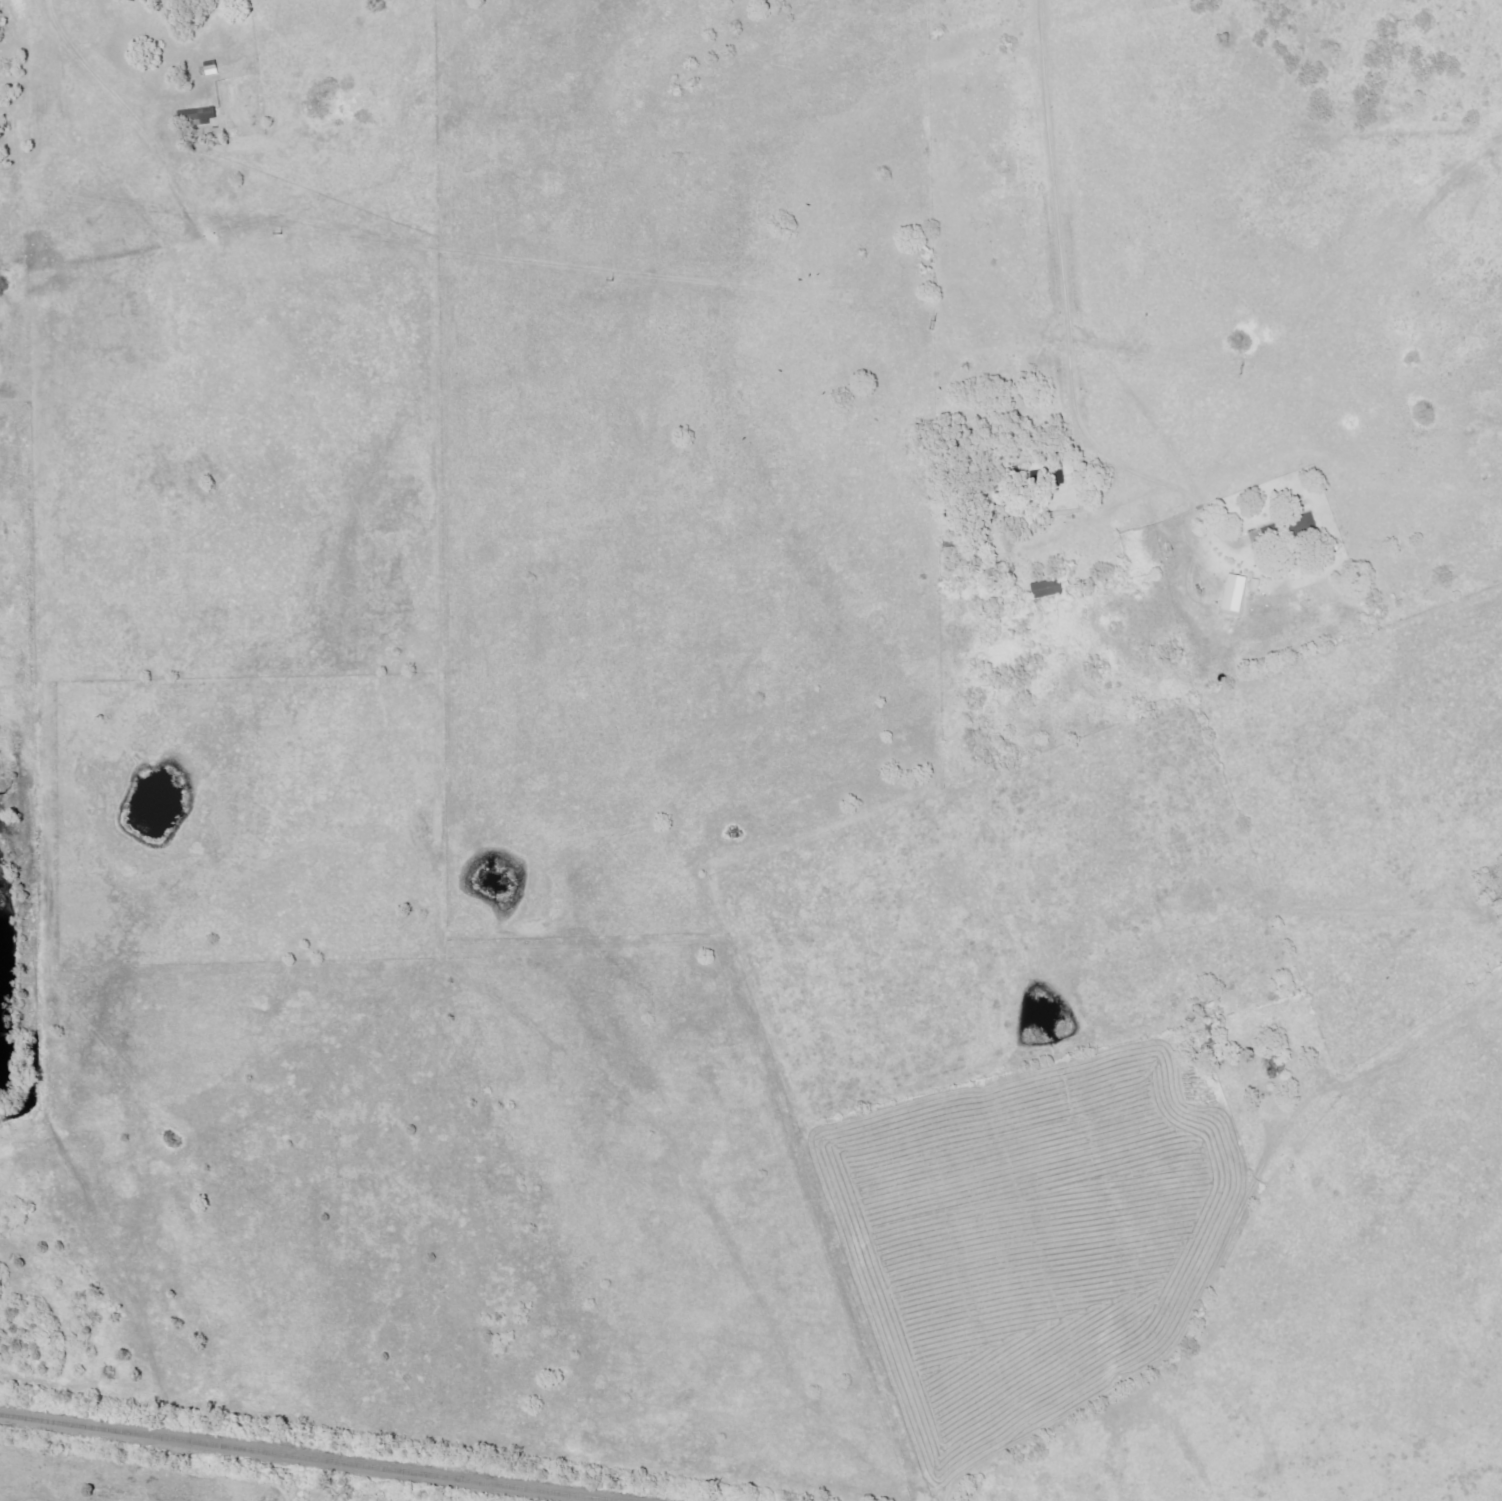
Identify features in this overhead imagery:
building: (198, 116)
power tower: (291, 231)
power tower: (606, 279)
road: (1066, 313)
power tower: (938, 323)
power tower: (1230, 364)
building: (1305, 525)
building: (1048, 589)
building: (1236, 593)
road: (1226, 1244)
railway: (304, 1457)

